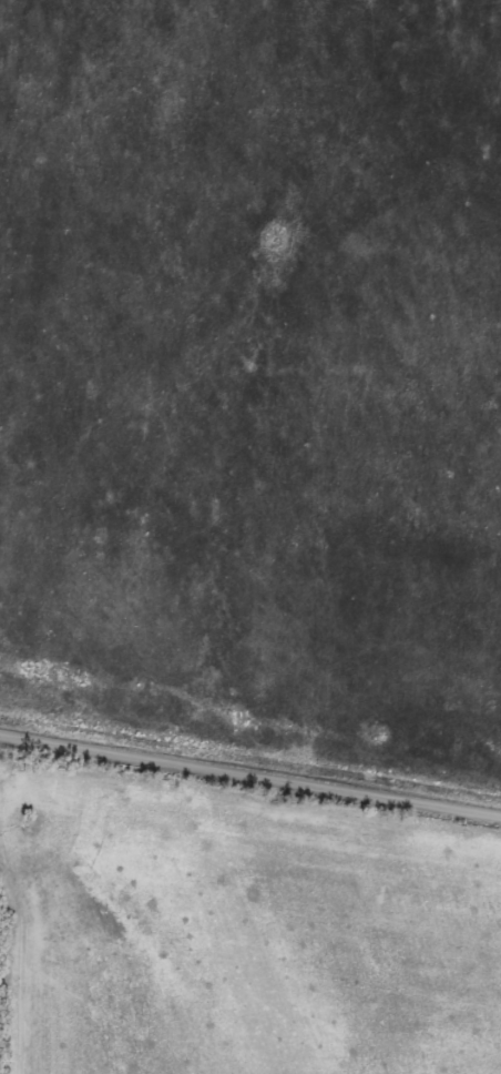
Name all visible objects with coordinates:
road: (250, 776)

